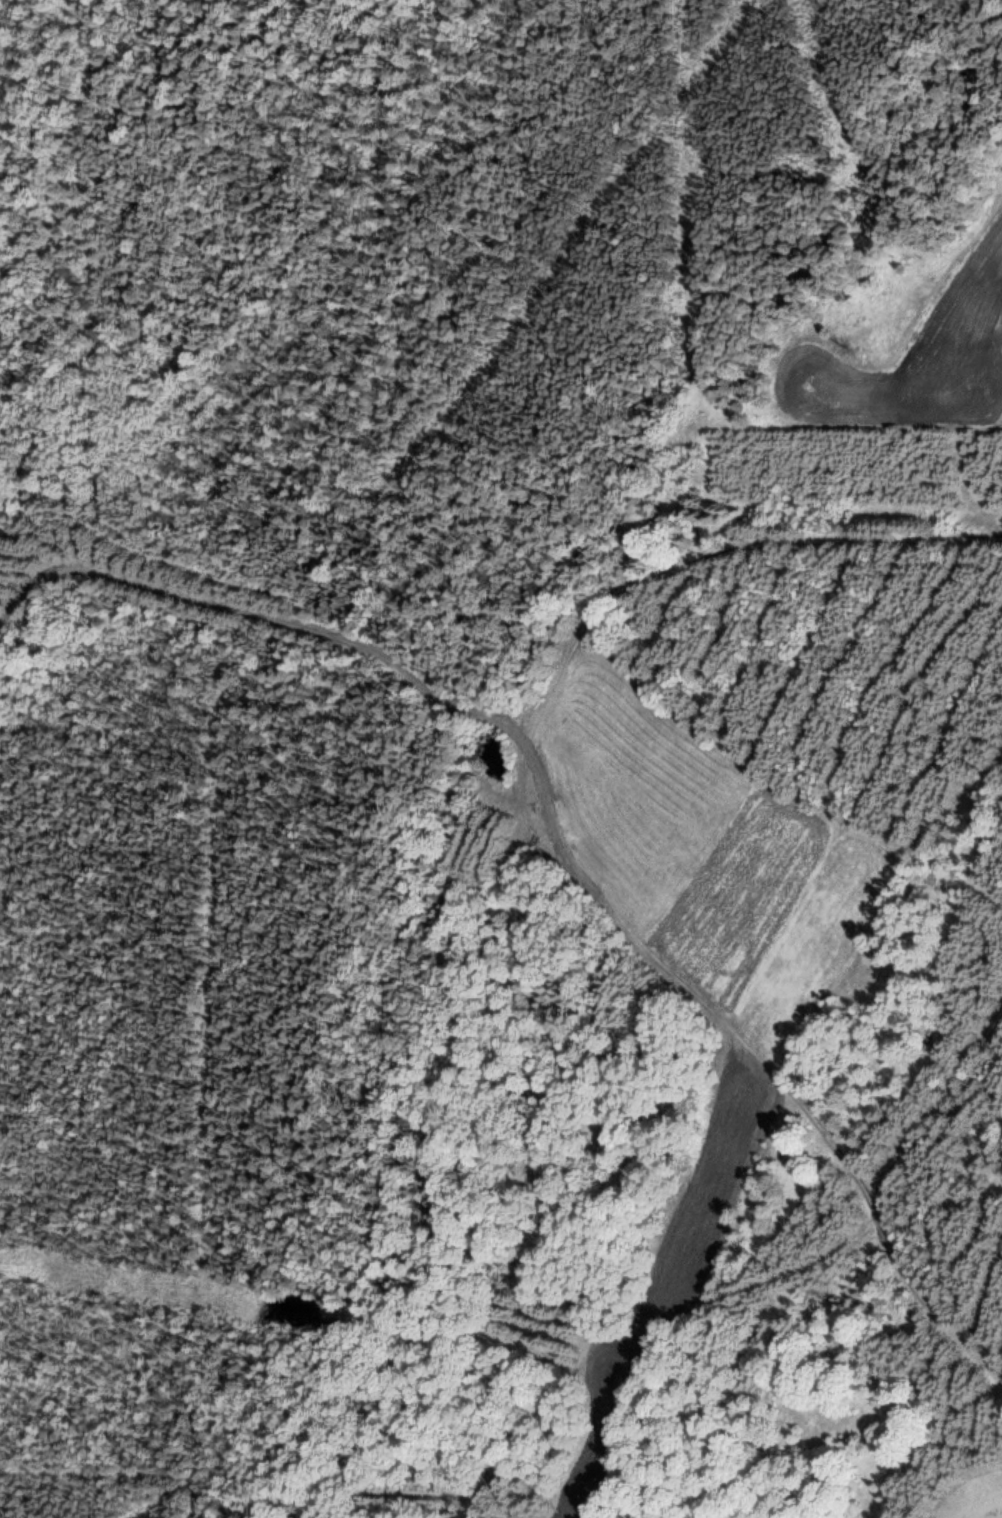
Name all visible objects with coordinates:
road: (716, 552)
road: (546, 853)

